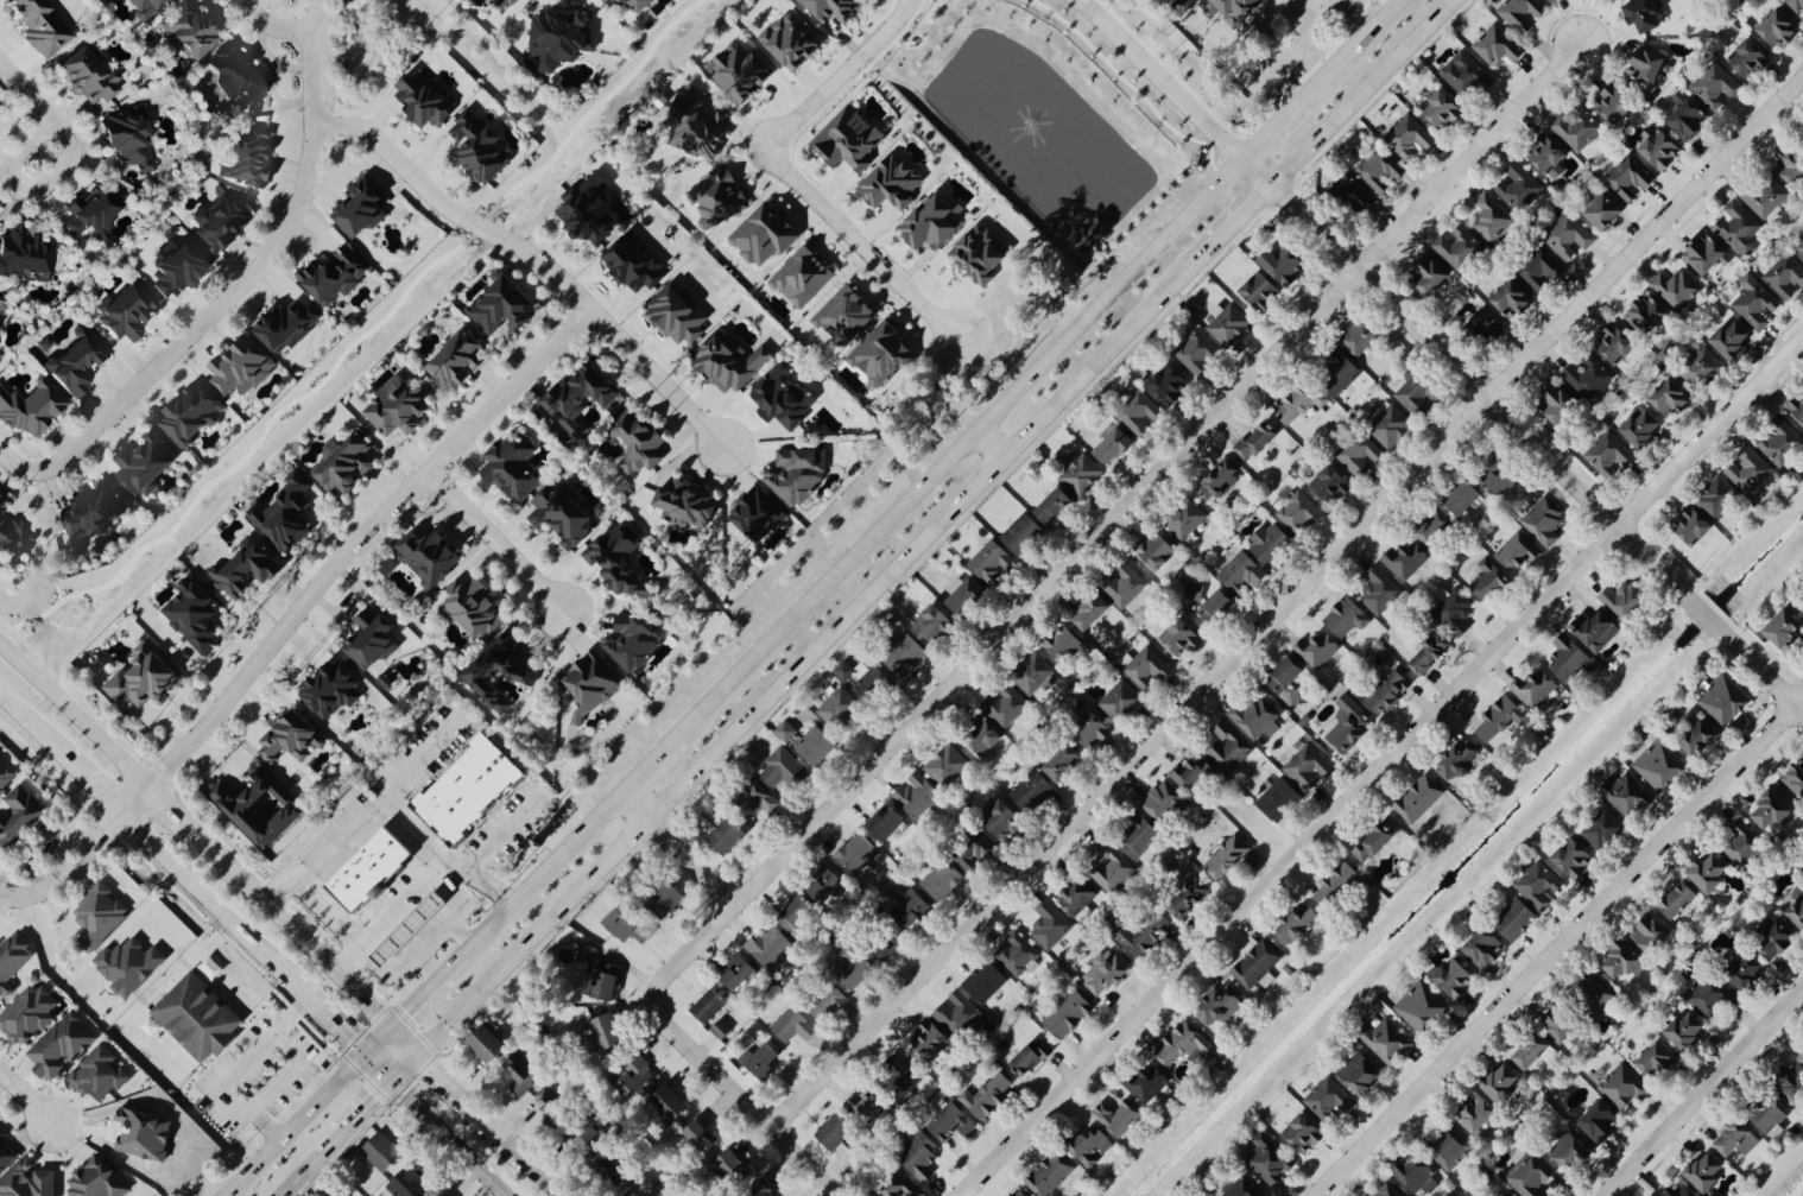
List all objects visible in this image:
building: (504, 4)
building: (635, 4)
building: (1796, 5)
road: (436, 6)
building: (145, 7)
building: (1231, 7)
building: (834, 8)
building: (1522, 13)
building: (1644, 13)
building: (42, 26)
road: (265, 26)
building: (1778, 26)
building: (189, 27)
building: (559, 37)
building: (792, 39)
building: (1498, 45)
park: (374, 46)
building: (1748, 58)
building: (1646, 65)
building: (740, 70)
building: (90, 72)
building: (1464, 72)
building: (239, 74)
road: (839, 77)
road: (1168, 84)
building: (1716, 84)
road: (24, 96)
building: (425, 99)
building: (1614, 103)
building: (1442, 109)
building: (1689, 120)
building: (696, 127)
building: (1577, 127)
building: (1409, 137)
building: (847, 138)
building: (129, 139)
building: (479, 146)
building: (1658, 147)
building: (1548, 156)
building: (247, 157)
building: (1791, 163)
building: (1381, 169)
building: (1630, 177)
building: (890, 181)
building: (1519, 185)
building: (1355, 191)
road: (25, 192)
building: (1765, 196)
building: (716, 198)
building: (361, 205)
building: (588, 209)
building: (1605, 210)
building: (94, 211)
building: (1491, 216)
building: (221, 221)
building: (930, 222)
building: (1739, 227)
building: (764, 234)
building: (1569, 235)
road: (860, 245)
building: (1801, 246)
building: (1460, 247)
building: (26, 251)
building: (980, 253)
building: (1706, 254)
road: (532, 259)
building: (633, 261)
building: (1283, 264)
building: (176, 266)
building: (1539, 267)
road: (246, 274)
building: (334, 274)
building: (1430, 274)
building: (801, 276)
building: (1786, 277)
building: (1676, 289)
building: (1260, 290)
building: (1512, 298)
building: (1755, 303)
building: (502, 305)
building: (127, 309)
building: (1646, 315)
building: (676, 316)
building: (843, 317)
building: (0, 322)
building: (1228, 322)
building: (286, 324)
building: (1486, 324)
building: (1360, 336)
building: (1732, 338)
building: (1615, 343)
building: (1196, 352)
building: (880, 353)
building: (0, 357)
building: (456, 359)
building: (76, 361)
building: (729, 362)
building: (241, 366)
building: (1701, 368)
building: (1339, 372)
building: (1589, 376)
building: (1170, 384)
road: (1473, 385)
building: (1417, 390)
building: (580, 395)
building: (783, 397)
building: (1670, 397)
building: (1302, 403)
building: (1558, 403)
building: (31, 406)
building: (398, 406)
building: (1797, 406)
building: (1138, 411)
building: (190, 413)
building: (1390, 424)
building: (1641, 426)
building: (1257, 441)
building: (1780, 442)
building: (639, 444)
road: (988, 444)
building: (1113, 444)
building: (1359, 453)
building: (1608, 454)
building: (144, 463)
building: (346, 464)
building: (513, 466)
road: (13, 467)
building: (1750, 470)
building: (1080, 472)
building: (797, 474)
building: (1495, 474)
building: (1219, 480)
building: (1330, 483)
building: (1463, 496)
building: (1717, 496)
building: (687, 502)
building: (1055, 505)
building: (90, 512)
road: (893, 512)
building: (758, 513)
building: (1298, 513)
building: (283, 514)
building: (562, 515)
building: (1185, 519)
building: (1544, 520)
road: (1113, 521)
building: (1691, 525)
road: (935, 526)
building: (1431, 526)
building: (11, 531)
building: (1021, 533)
road: (359, 539)
road: (496, 542)
building: (1270, 543)
building: (1156, 550)
building: (1518, 551)
building: (428, 556)
building: (1405, 559)
building: (991, 561)
building: (620, 562)
building: (388, 565)
building: (245, 568)
building: (1241, 574)
building: (1487, 580)
building: (1125, 586)
building: (1380, 590)
building: (1194, 591)
building: (966, 595)
building: (1624, 600)
building: (473, 607)
building: (1216, 607)
road: (1288, 609)
building: (1090, 610)
building: (1455, 610)
building: (192, 614)
road: (1706, 615)
building: (1347, 618)
building: (932, 622)
building: (1595, 629)
building: (1785, 629)
building: (1179, 637)
building: (371, 639)
building: (634, 639)
building: (1064, 645)
building: (1317, 650)
building: (1429, 653)
building: (905, 654)
building: (1568, 659)
building: (1147, 669)
building: (523, 670)
road: (1761, 671)
building: (1033, 675)
building: (140, 678)
building: (862, 678)
building: (1288, 679)
building: (591, 683)
building: (1535, 688)
building: (331, 689)
building: (1388, 691)
building: (1725, 700)
building: (1120, 701)
building: (1005, 705)
building: (841, 709)
road: (74, 714)
building: (1254, 716)
building: (1501, 717)
road: (31, 724)
building: (786, 730)
building: (1090, 730)
building: (1349, 732)
building: (983, 736)
building: (290, 738)
building: (1700, 738)
building: (815, 745)
building: (1228, 747)
building: (1457, 760)
building: (1062, 761)
building: (1660, 764)
building: (1305, 765)
building: (947, 766)
road: (1383, 767)
building: (784, 770)
building: (6, 774)
building: (1196, 776)
building: (1795, 779)
road: (91, 785)
building: (468, 789)
building: (1032, 791)
building: (1626, 793)
building: (917, 795)
building: (757, 797)
building: (1277, 798)
road: (133, 799)
building: (1419, 799)
building: (1162, 802)
building: (259, 808)
road: (382, 808)
building: (1772, 810)
road: (175, 812)
building: (19, 816)
building: (1000, 818)
building: (886, 823)
building: (1602, 828)
road: (498, 835)
building: (728, 836)
building: (1138, 837)
road: (409, 842)
building: (1374, 842)
building: (1744, 844)
road: (677, 850)
building: (973, 850)
building: (856, 854)
road: (444, 856)
building: (1227, 856)
building: (1574, 858)
road: (65, 867)
building: (1109, 867)
building: (368, 871)
building: (1709, 873)
building: (942, 880)
building: (1336, 884)
building: (824, 885)
building: (1538, 885)
building: (1077, 896)
building: (1188, 897)
building: (666, 899)
building: (1678, 900)
road: (211, 905)
building: (912, 909)
building: (1797, 913)
building: (797, 915)
building: (99, 916)
building: (1516, 919)
building: (1296, 924)
building: (1050, 925)
building: (627, 926)
building: (407, 929)
road: (461, 929)
road: (296, 934)
building: (1143, 934)
building: (1650, 934)
road: (429, 937)
building: (1776, 941)
building: (888, 944)
building: (772, 948)
building: (1483, 948)
road: (1560, 948)
road: (46, 950)
building: (1017, 953)
building: (12, 960)
building: (1622, 961)
building: (128, 964)
road: (425, 966)
building: (1257, 967)
building: (855, 970)
building: (1744, 970)
building: (738, 972)
building: (1106, 972)
building: (599, 975)
building: (1454, 977)
building: (985, 981)
building: (1598, 993)
building: (1709, 995)
building: (827, 1002)
building: (709, 1006)
building: (1220, 1006)
building: (1422, 1007)
building: (957, 1013)
building: (27, 1014)
building: (1068, 1014)
building: (197, 1018)
road: (334, 1025)
building: (793, 1026)
traffic signals: (391, 1027)
building: (1560, 1027)
building: (721, 1029)
building: (606, 1031)
building: (1685, 1031)
road: (377, 1040)
road: (404, 1040)
building: (930, 1040)
building: (1386, 1040)
building: (486, 1044)
building: (62, 1045)
building: (1185, 1045)
building: (1532, 1051)
traffic signals: (418, 1053)
traffic signals: (363, 1055)
building: (1031, 1057)
building: (760, 1061)
building: (1656, 1061)
road: (377, 1068)
road: (404, 1068)
road: (286, 1070)
road: (234, 1072)
building: (519, 1072)
building: (97, 1074)
building: (1360, 1074)
building: (633, 1076)
building: (903, 1076)
traffic signals: (391, 1082)
building: (1147, 1082)
building: (1501, 1082)
building: (1792, 1082)
road: (448, 1083)
building: (1624, 1087)
road: (1702, 1091)
building: (987, 1095)
road: (26, 1096)
building: (1328, 1100)
road: (738, 1102)
building: (548, 1103)
building: (669, 1103)
building: (867, 1105)
building: (1476, 1113)
building: (1769, 1115)
building: (1116, 1116)
building: (951, 1122)
building: (1599, 1122)
road: (293, 1125)
building: (836, 1132)
building: (1303, 1133)
building: (581, 1134)
building: (702, 1135)
road: (334, 1139)
road: (448, 1139)
building: (1738, 1139)
building: (1090, 1146)
building: (1449, 1148)
building: (381, 1150)
building: (1570, 1152)
building: (5, 1153)
road: (519, 1154)
building: (919, 1157)
building: (1270, 1159)
building: (729, 1164)
building: (613, 1166)
building: (1706, 1172)
building: (1530, 1173)
building: (1049, 1175)
building: (1417, 1175)
building: (96, 1179)
building: (26, 1182)
building: (409, 1182)
building: (898, 1185)
building: (1245, 1188)
building: (643, 1189)
building: (763, 1189)
building: (327, 1190)
building: (1387, 1190)
building: (1681, 1190)
building: (1020, 1194)
building: (441, 1195)
building: (1507, 1195)

